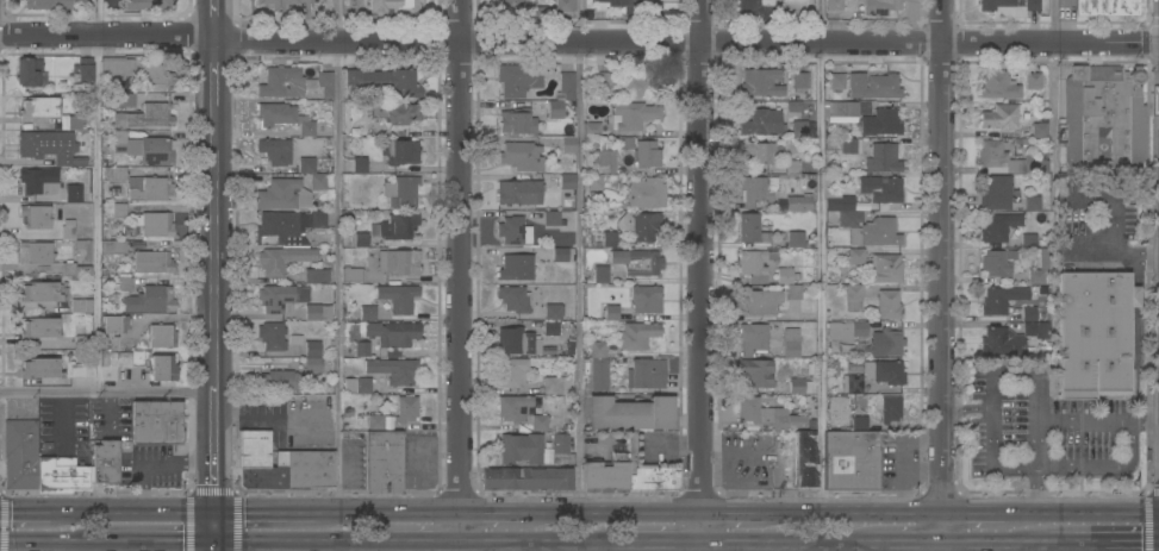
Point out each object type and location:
building: (850, 1)
building: (58, 2)
building: (281, 2)
building: (145, 4)
building: (834, 5)
building: (392, 6)
building: (636, 6)
building: (879, 6)
building: (1107, 6)
building: (1008, 7)
building: (532, 8)
building: (755, 10)
road: (216, 20)
road: (581, 23)
road: (579, 43)
road: (1152, 62)
building: (117, 65)
road: (216, 68)
building: (83, 69)
building: (30, 71)
building: (154, 76)
building: (518, 79)
building: (603, 80)
building: (1033, 80)
building: (385, 81)
building: (799, 81)
building: (836, 81)
building: (291, 82)
building: (760, 82)
building: (635, 84)
building: (873, 84)
building: (999, 84)
road: (1057, 87)
building: (561, 96)
building: (126, 100)
building: (39, 106)
building: (795, 106)
building: (845, 111)
building: (394, 112)
building: (274, 113)
building: (631, 114)
building: (144, 115)
building: (1001, 115)
building: (1103, 117)
building: (75, 121)
building: (516, 121)
building: (761, 121)
building: (880, 123)
building: (306, 127)
building: (591, 129)
building: (802, 129)
building: (1039, 130)
building: (568, 144)
building: (849, 145)
building: (49, 146)
building: (144, 148)
building: (275, 150)
building: (399, 151)
building: (642, 151)
building: (756, 151)
building: (522, 155)
building: (992, 156)
building: (883, 158)
building: (604, 159)
building: (359, 164)
building: (792, 165)
building: (113, 173)
building: (311, 173)
building: (63, 174)
building: (38, 181)
building: (567, 181)
building: (593, 181)
building: (148, 188)
building: (880, 188)
building: (758, 189)
building: (400, 190)
building: (518, 192)
building: (646, 192)
building: (998, 192)
building: (75, 193)
building: (282, 194)
building: (835, 196)
road: (99, 198)
building: (799, 202)
building: (1032, 202)
building: (118, 209)
building: (36, 217)
building: (550, 217)
building: (849, 218)
building: (156, 224)
building: (640, 225)
building: (397, 226)
building: (996, 226)
building: (287, 227)
building: (750, 228)
building: (511, 230)
building: (68, 231)
building: (876, 232)
building: (609, 238)
building: (796, 238)
building: (357, 239)
building: (1028, 240)
building: (85, 246)
building: (112, 246)
building: (35, 252)
building: (560, 253)
road: (339, 256)
building: (855, 256)
road: (1108, 256)
road: (579, 257)
road: (822, 258)
building: (281, 259)
building: (151, 261)
building: (398, 261)
building: (637, 261)
building: (996, 262)
building: (754, 264)
building: (515, 267)
building: (1039, 267)
building: (885, 268)
building: (75, 269)
building: (351, 274)
building: (600, 274)
building: (316, 275)
road: (459, 275)
road: (700, 275)
building: (786, 275)
road: (942, 275)
road: (1148, 278)
building: (124, 283)
building: (793, 292)
building: (39, 294)
building: (276, 298)
building: (398, 298)
building: (853, 298)
building: (513, 299)
building: (646, 299)
building: (999, 299)
building: (149, 300)
building: (759, 300)
road: (216, 302)
building: (887, 303)
building: (81, 305)
building: (553, 311)
building: (312, 312)
building: (611, 312)
building: (367, 313)
building: (1028, 313)
building: (114, 324)
building: (550, 326)
building: (39, 327)
building: (846, 330)
building: (392, 333)
building: (1092, 333)
building: (161, 334)
building: (637, 334)
building: (272, 336)
building: (753, 338)
building: (1010, 338)
building: (517, 340)
road: (1135, 340)
building: (81, 342)
building: (790, 342)
building: (886, 342)
building: (108, 343)
building: (312, 347)
building: (361, 349)
building: (597, 349)
building: (113, 364)
building: (312, 364)
building: (162, 367)
building: (39, 368)
building: (82, 368)
building: (854, 368)
building: (393, 370)
building: (510, 371)
building: (884, 371)
building: (756, 372)
building: (599, 374)
building: (646, 374)
road: (1034, 378)
building: (278, 380)
building: (555, 384)
building: (854, 384)
building: (356, 386)
building: (796, 386)
building: (810, 387)
building: (872, 388)
road: (108, 395)
building: (404, 409)
building: (890, 409)
road: (965, 409)
building: (522, 411)
building: (837, 411)
building: (630, 413)
building: (767, 414)
road: (278, 417)
building: (155, 422)
building: (375, 422)
building: (859, 422)
road: (1084, 422)
building: (560, 443)
road: (774, 447)
building: (519, 449)
building: (258, 451)
building: (20, 453)
road: (990, 458)
building: (804, 461)
building: (105, 462)
building: (384, 462)
building: (850, 462)
road: (1088, 465)
building: (311, 470)
building: (647, 471)
building: (605, 474)
building: (61, 475)
building: (529, 478)
building: (261, 480)
traffic signals: (212, 483)
road: (740, 483)
road: (1152, 490)
road: (131, 512)
traffic signals: (244, 512)
road: (264, 512)
road: (386, 512)
road: (490, 512)
traffic signals: (10, 513)
road: (25, 513)
road: (549, 514)
road: (637, 516)
road: (731, 516)
road: (853, 518)
road: (983, 519)
road: (1091, 519)
road: (213, 526)
road: (55, 539)
road: (161, 539)
road: (301, 539)
road: (424, 539)
traffic signals: (181, 540)
road: (546, 543)
road: (213, 545)
road: (379, 545)
road: (410, 545)
road: (668, 545)
road: (905, 545)
road: (996, 545)
road: (785, 546)
road: (1057, 546)
road: (1110, 546)
road: (585, 547)
road: (653, 547)
road: (868, 549)
road: (1007, 549)
road: (1063, 549)

